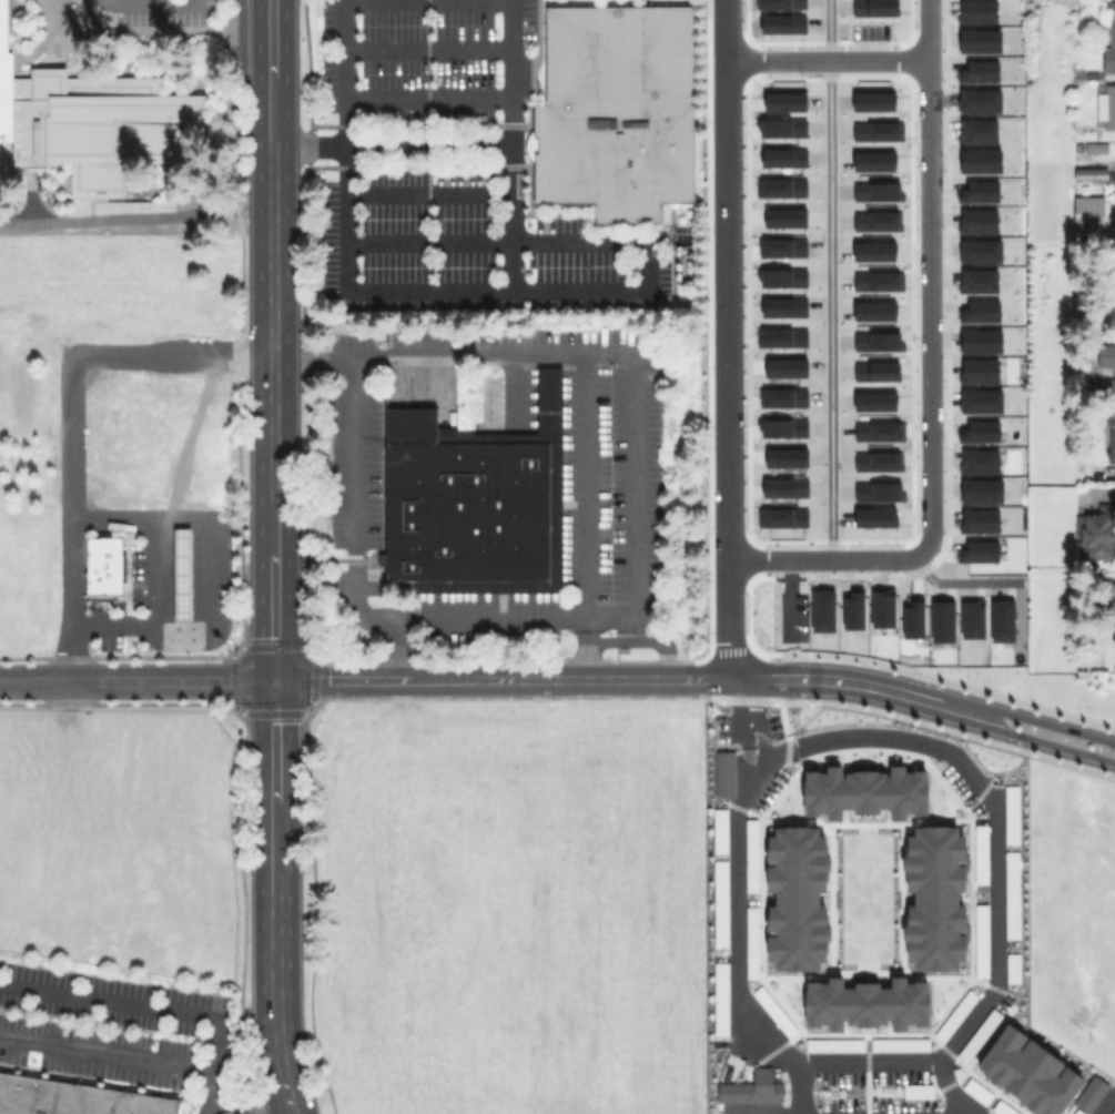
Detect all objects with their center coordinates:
road: (396, 0)
road: (145, 3)
parking lot: (148, 11)
building: (1109, 42)
road: (427, 49)
road: (827, 60)
road: (427, 99)
building: (1106, 104)
building: (616, 110)
building: (89, 122)
road: (391, 142)
road: (511, 143)
building: (1089, 173)
road: (427, 193)
building: (1114, 199)
building: (1087, 212)
road: (135, 215)
road: (344, 227)
road: (427, 240)
road: (647, 263)
road: (830, 278)
road: (727, 338)
road: (328, 354)
building: (1107, 361)
road: (929, 373)
road: (71, 416)
building: (1109, 434)
road: (632, 469)
road: (586, 484)
building: (473, 500)
road: (355, 514)
building: (1096, 530)
road: (271, 557)
building: (103, 565)
road: (156, 571)
building: (180, 573)
road: (204, 575)
gas station: (155, 576)
road: (961, 581)
building: (1108, 599)
road: (641, 640)
road: (587, 645)
road: (398, 647)
road: (533, 678)
road: (135, 679)
traffic signals: (272, 679)
road: (888, 689)
road: (1047, 723)
road: (1045, 741)
building: (723, 772)
building: (864, 791)
road: (985, 814)
road: (739, 879)
building: (797, 898)
building: (935, 898)
road: (108, 1000)
building: (865, 1003)
road: (109, 1052)
road: (216, 1066)
road: (866, 1069)
building: (1028, 1072)
building: (751, 1087)
road: (797, 1091)
building: (1089, 1093)
building: (74, 1097)
road: (245, 1106)

